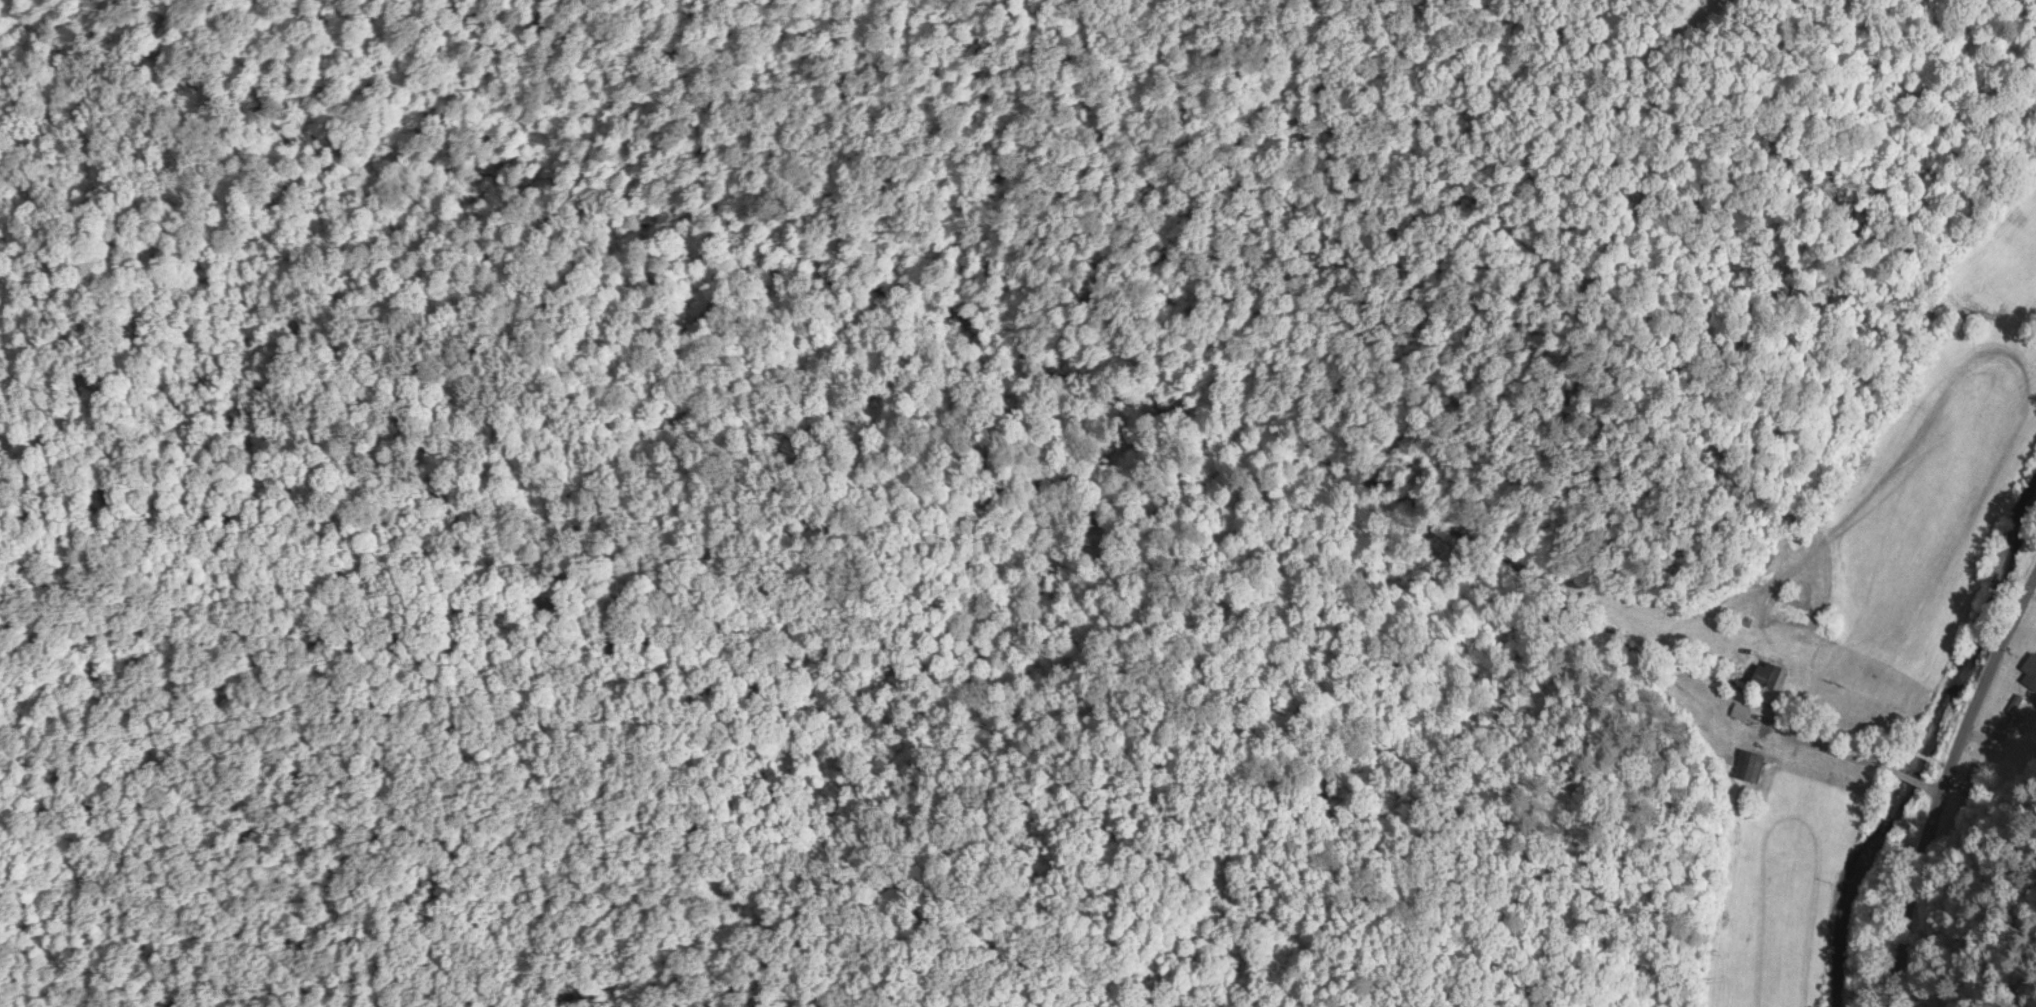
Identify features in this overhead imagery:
building: (1789, 597)
building: (1767, 673)
building: (1737, 709)
river: (1920, 740)
building: (1747, 764)
road: (1943, 803)

